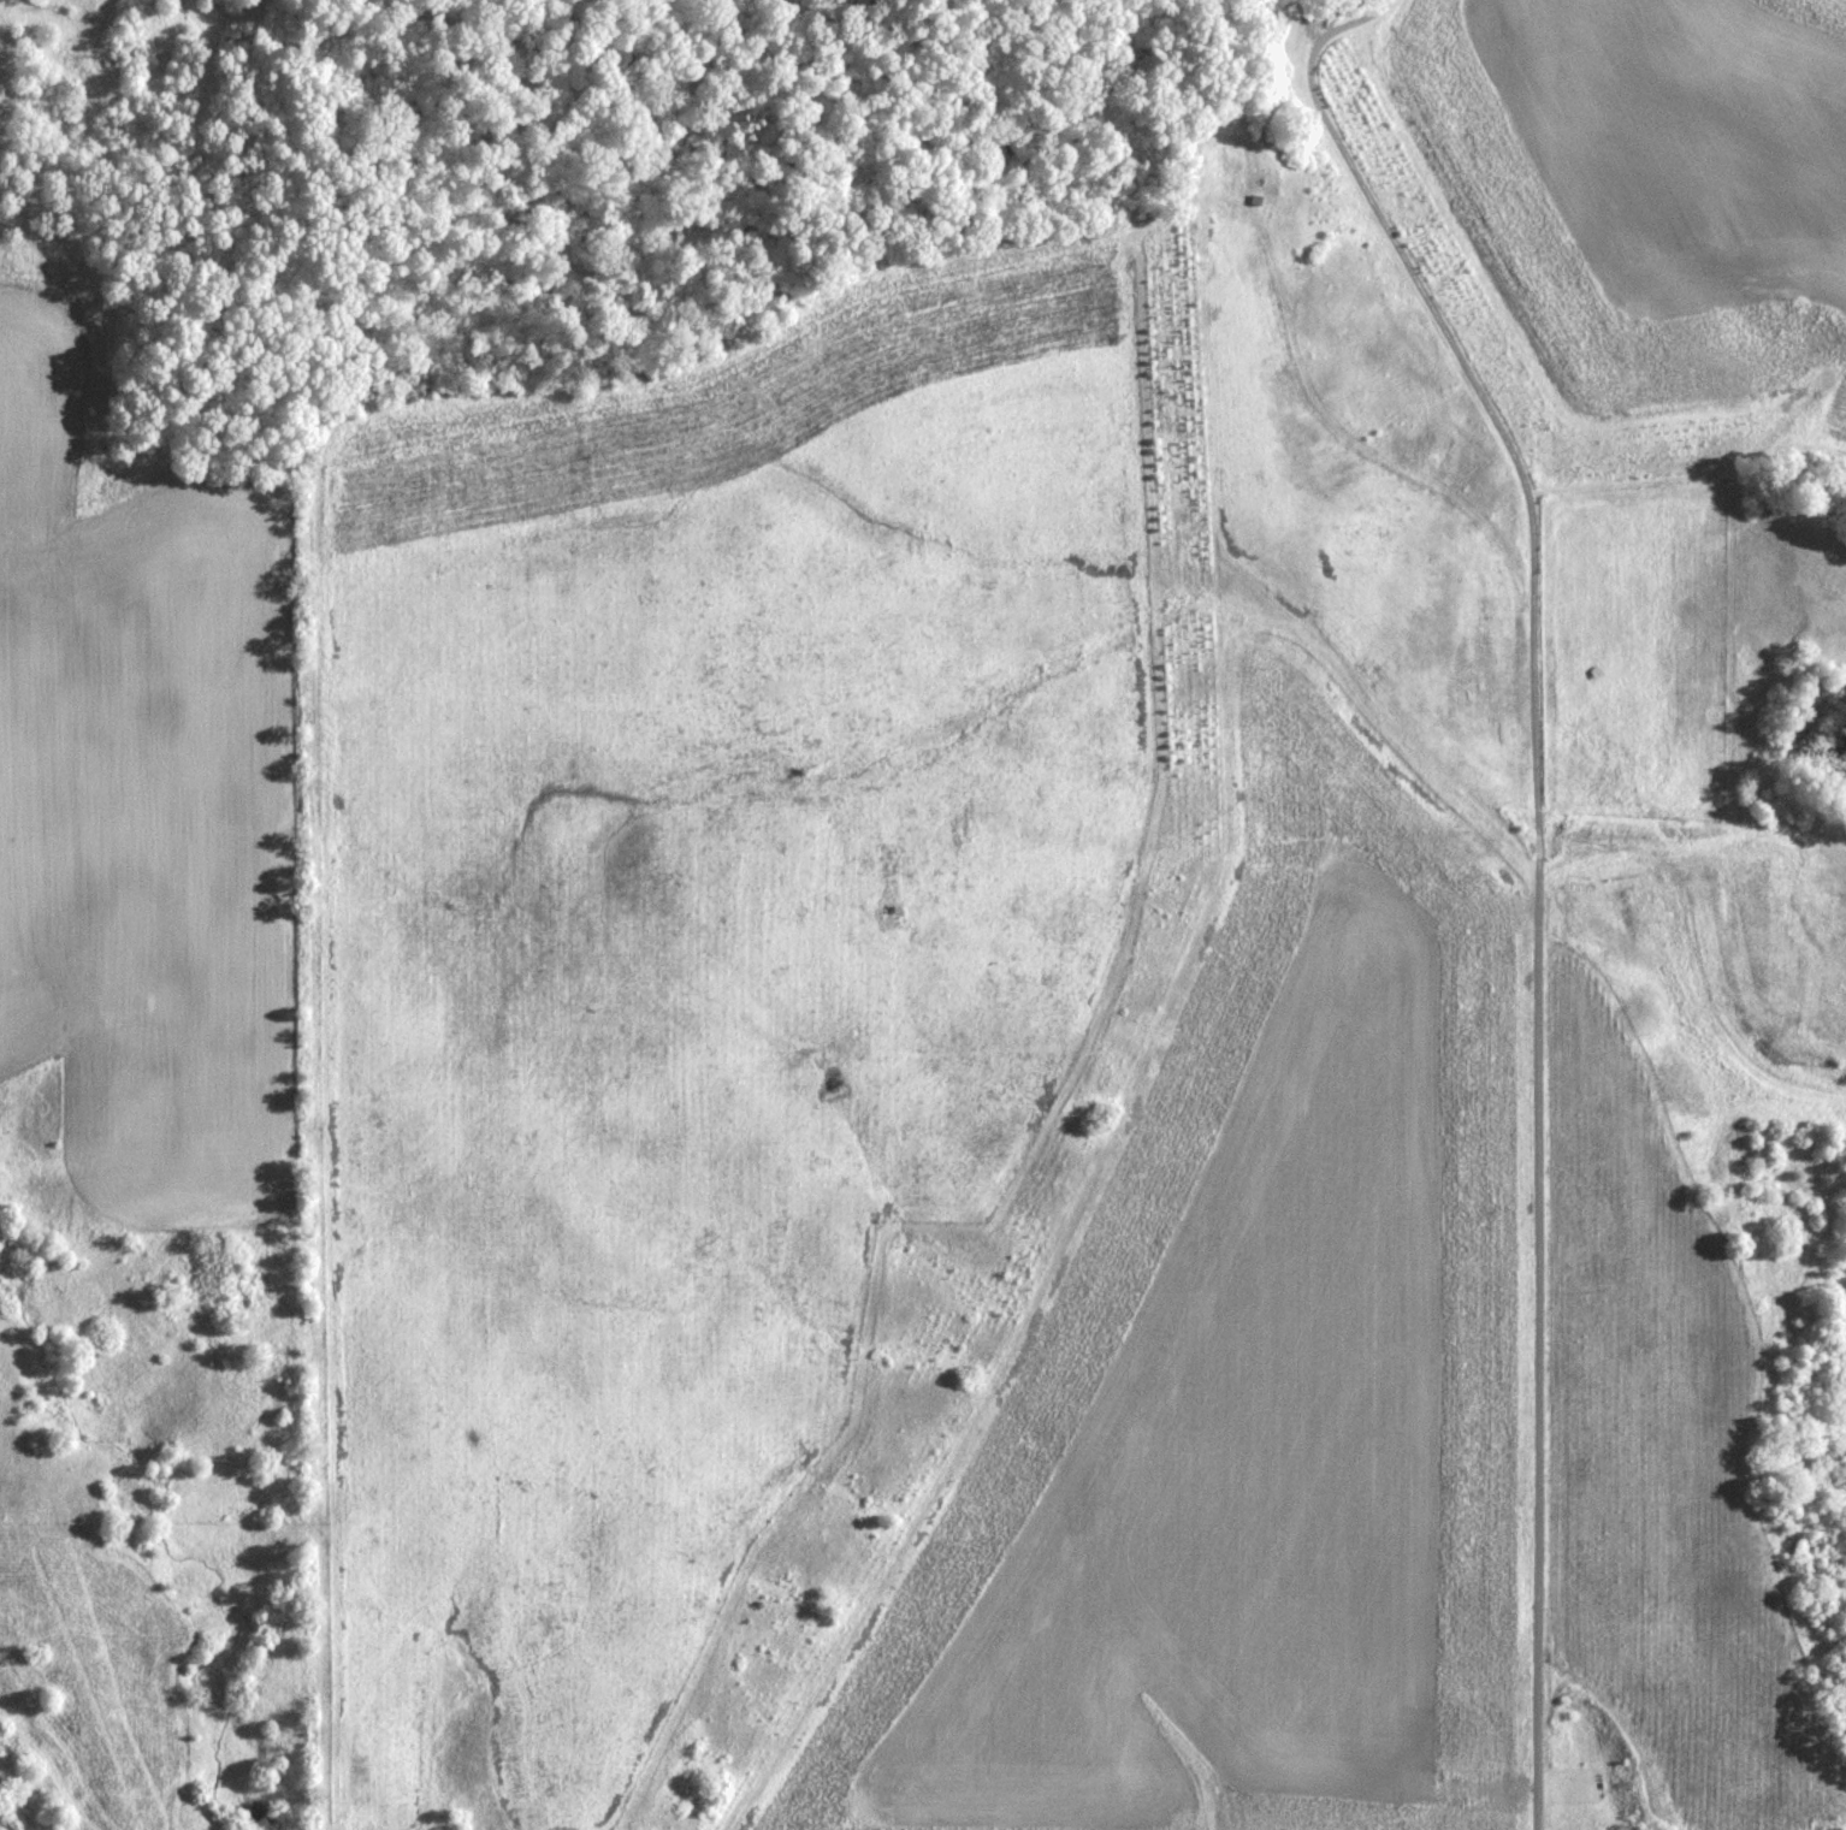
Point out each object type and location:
road: (1537, 870)

